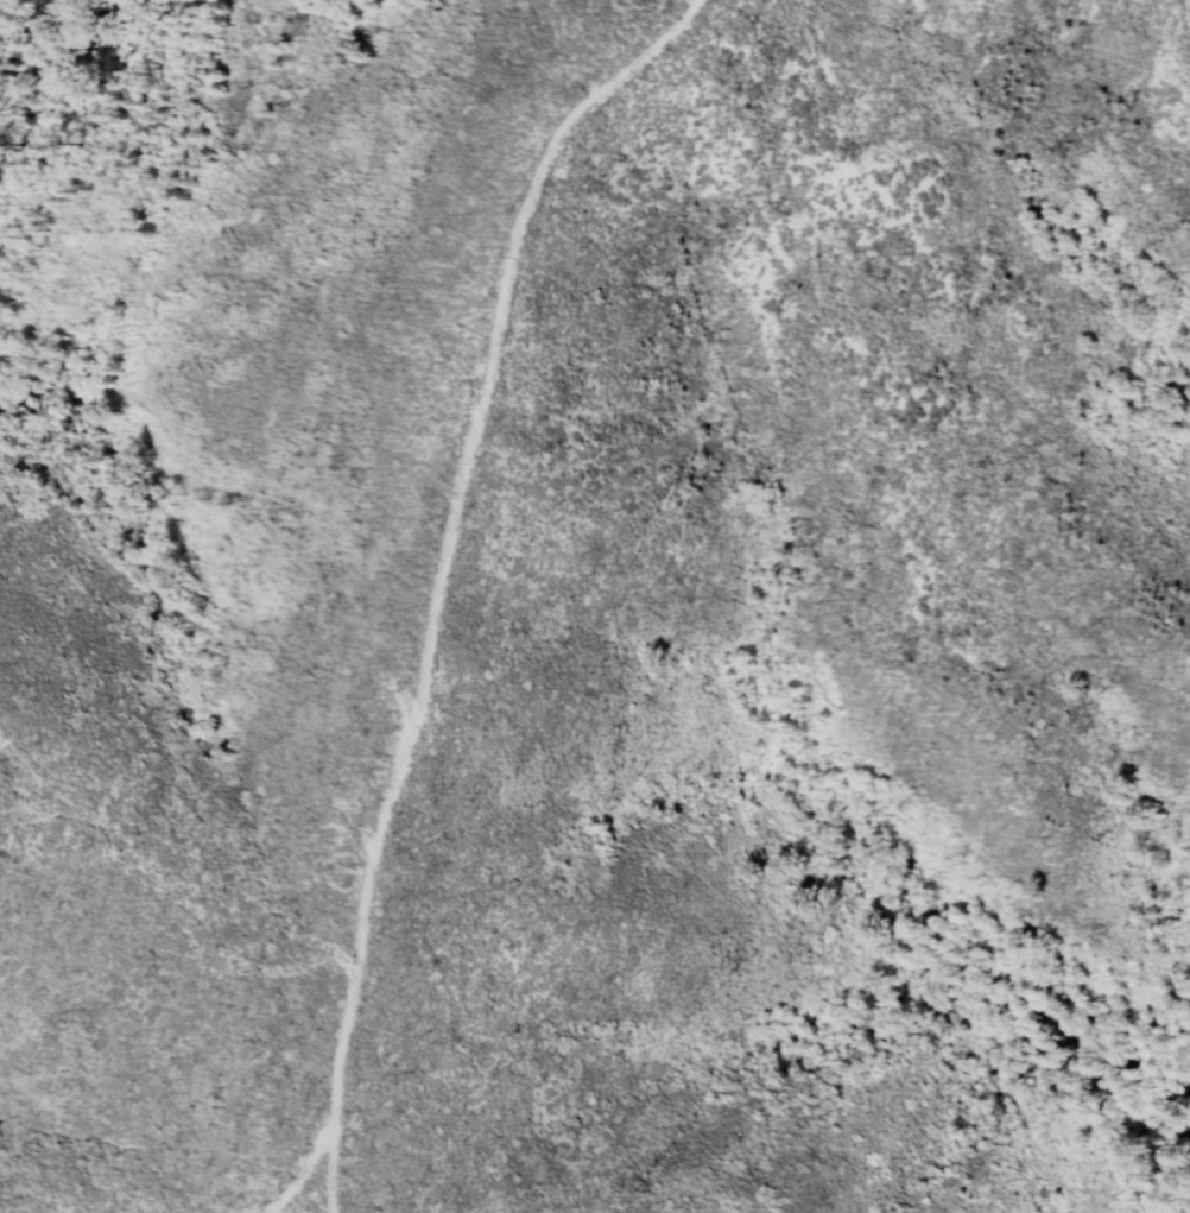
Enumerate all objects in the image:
road: (428, 568)
road: (291, 1175)

